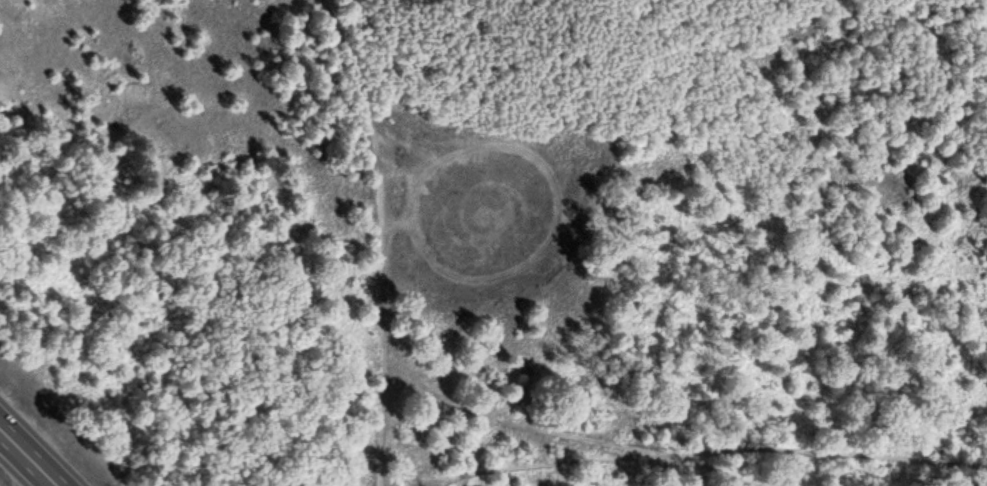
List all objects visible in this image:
road: (386, 235)
road: (28, 457)
road: (644, 460)
road: (382, 484)

